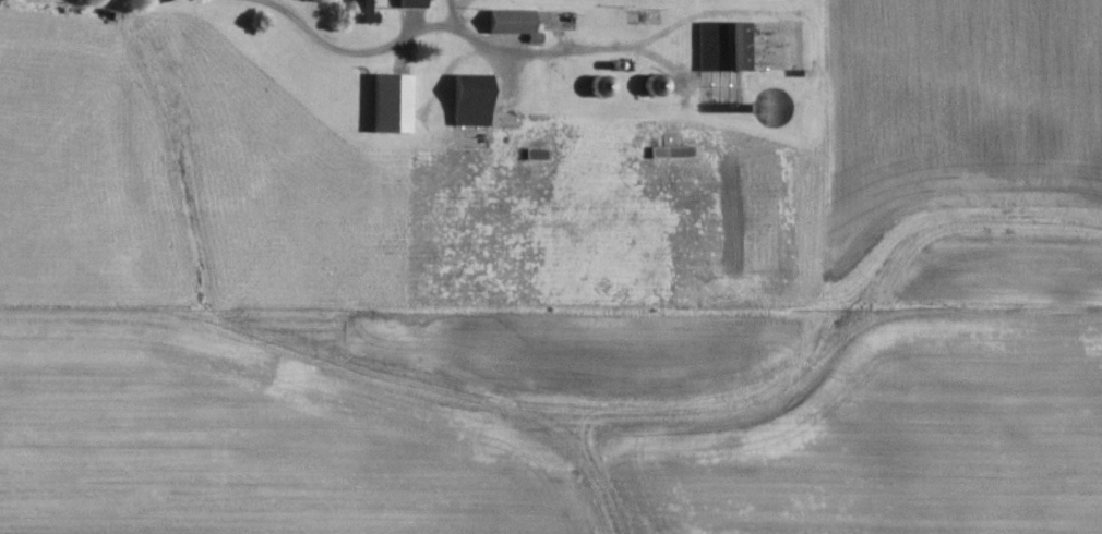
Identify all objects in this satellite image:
building: (407, 4)
building: (356, 12)
building: (504, 24)
road: (359, 52)
road: (536, 58)
building: (386, 105)

